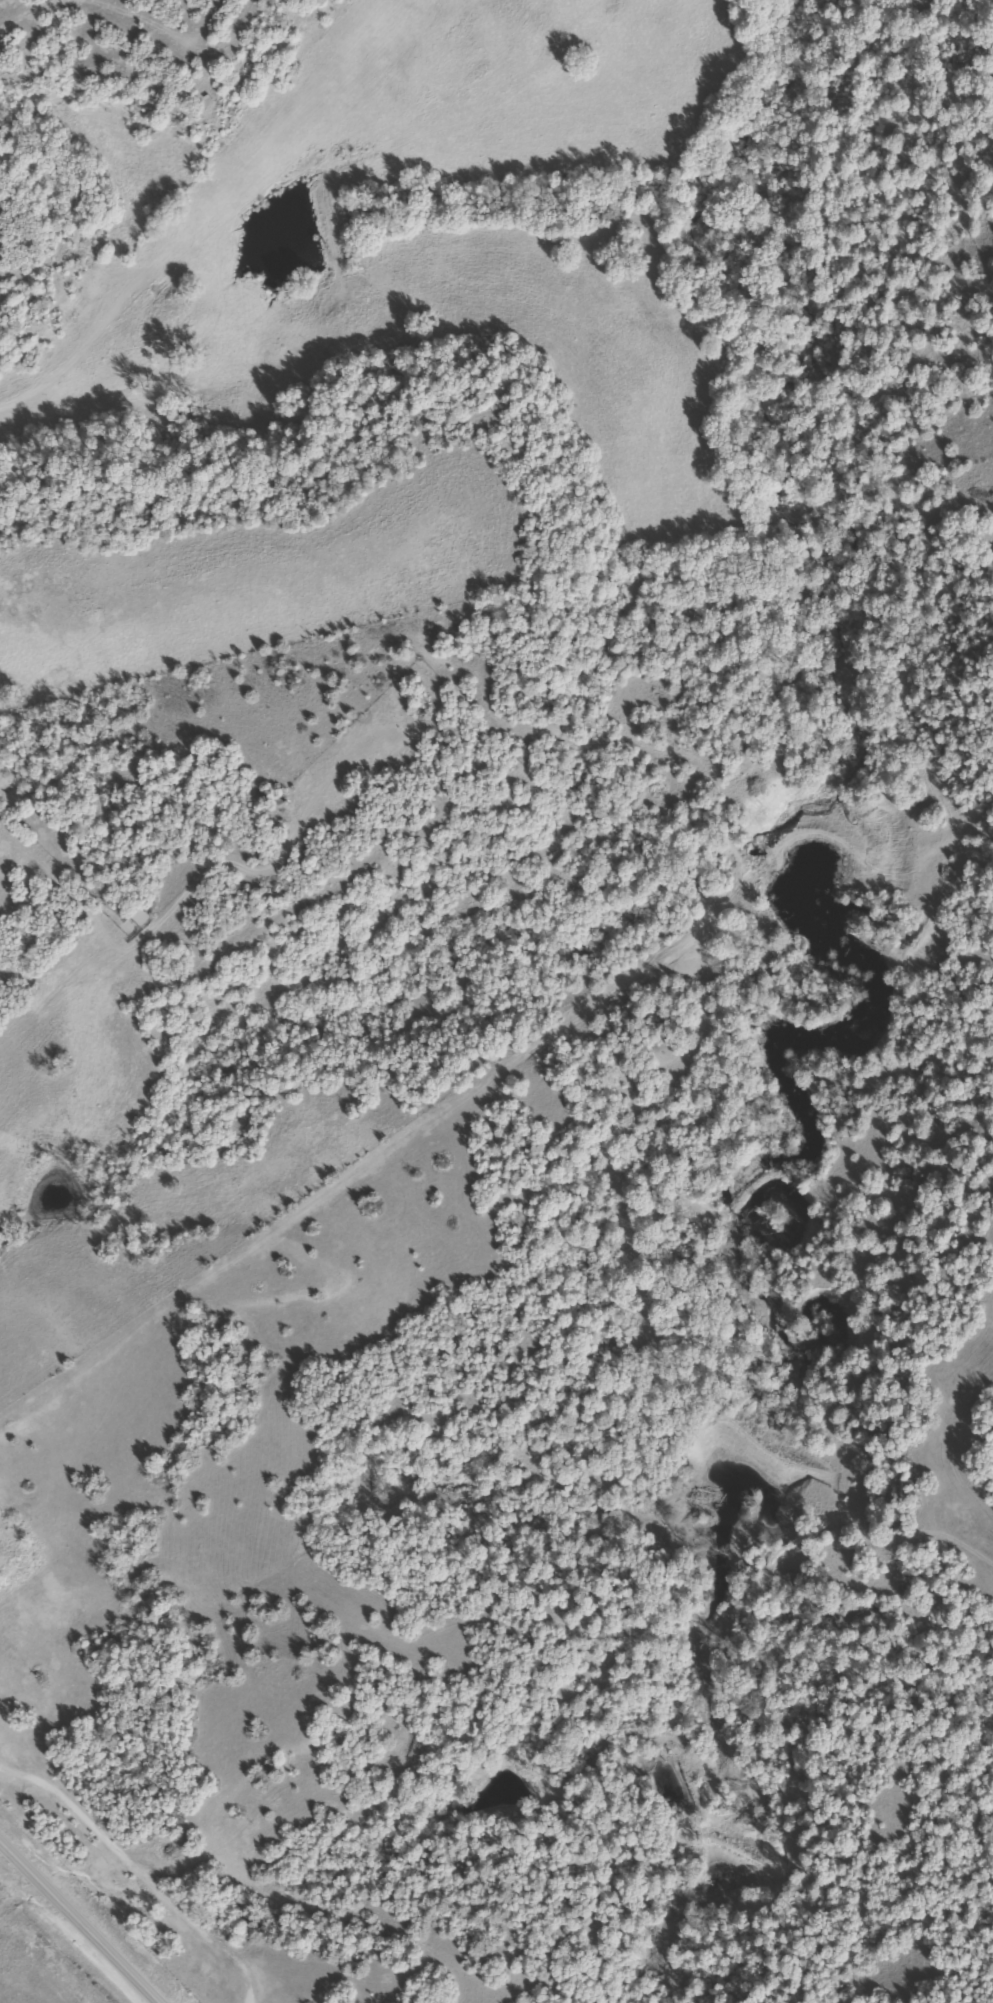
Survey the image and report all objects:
road: (79, 1923)

